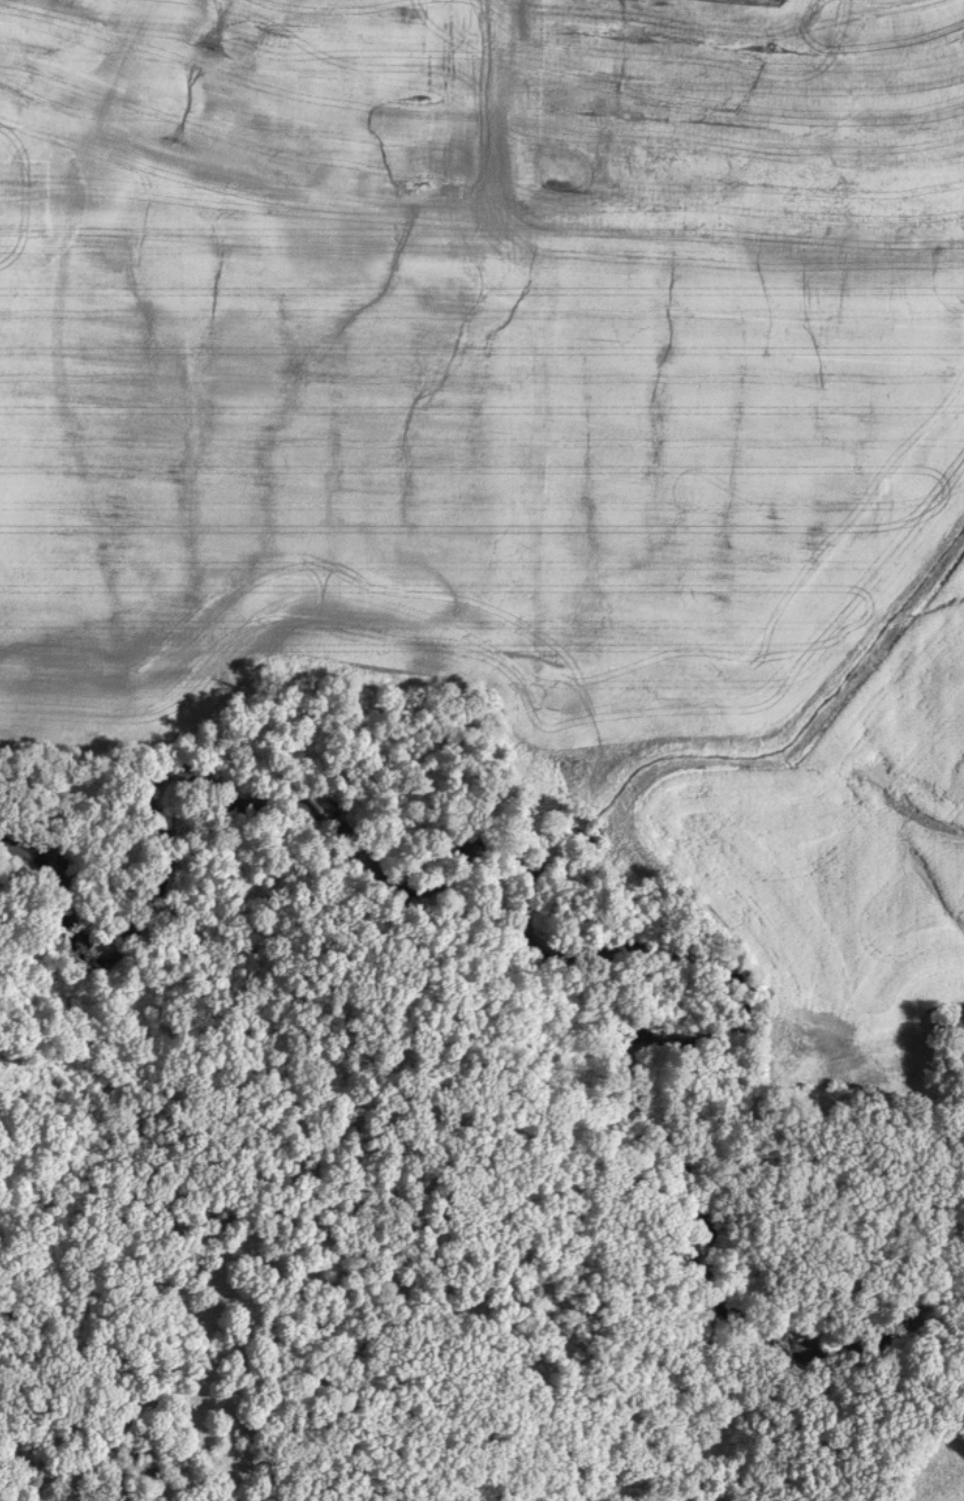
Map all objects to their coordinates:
road: (60, 211)

